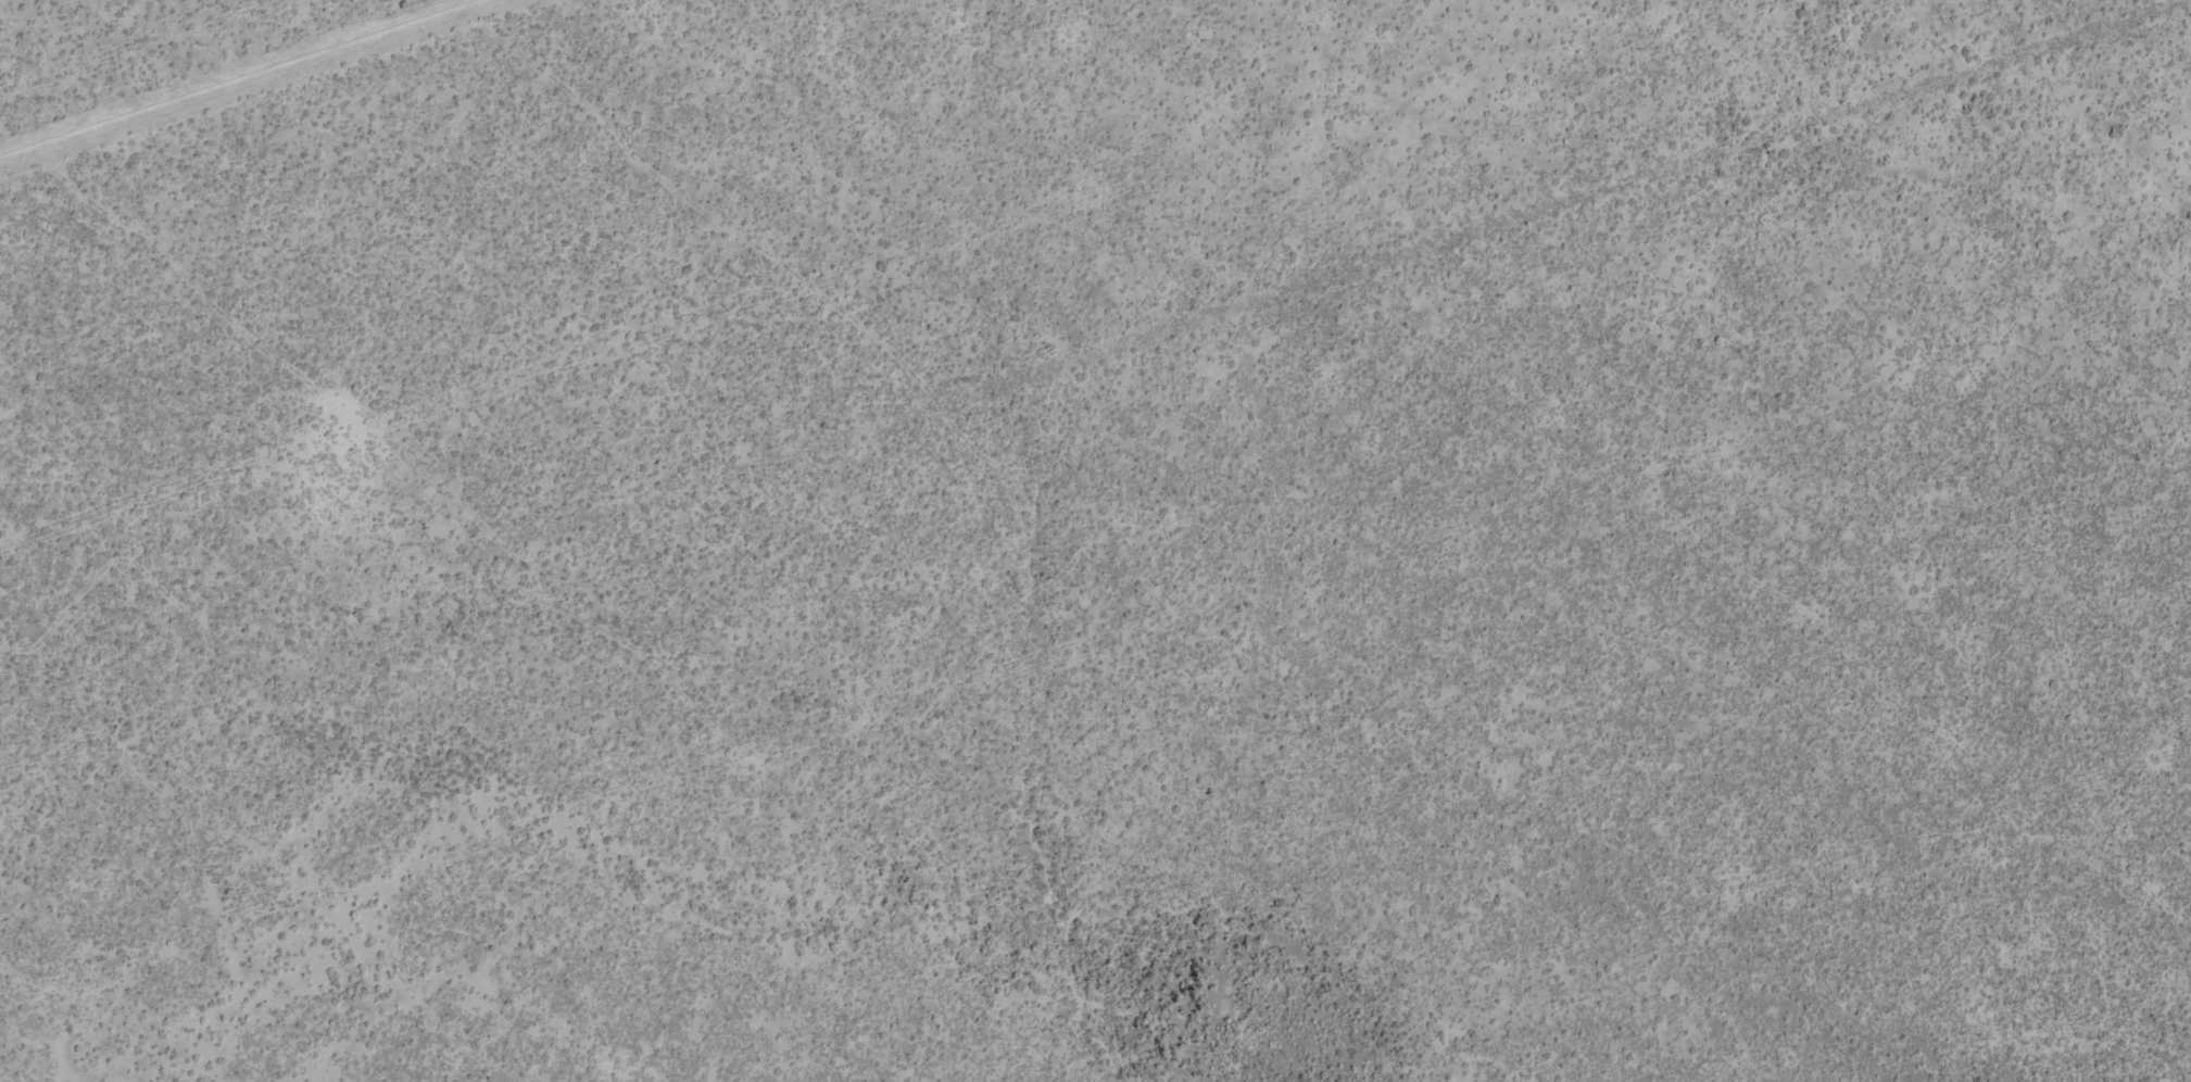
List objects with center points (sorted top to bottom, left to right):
road: (1378, 269)

